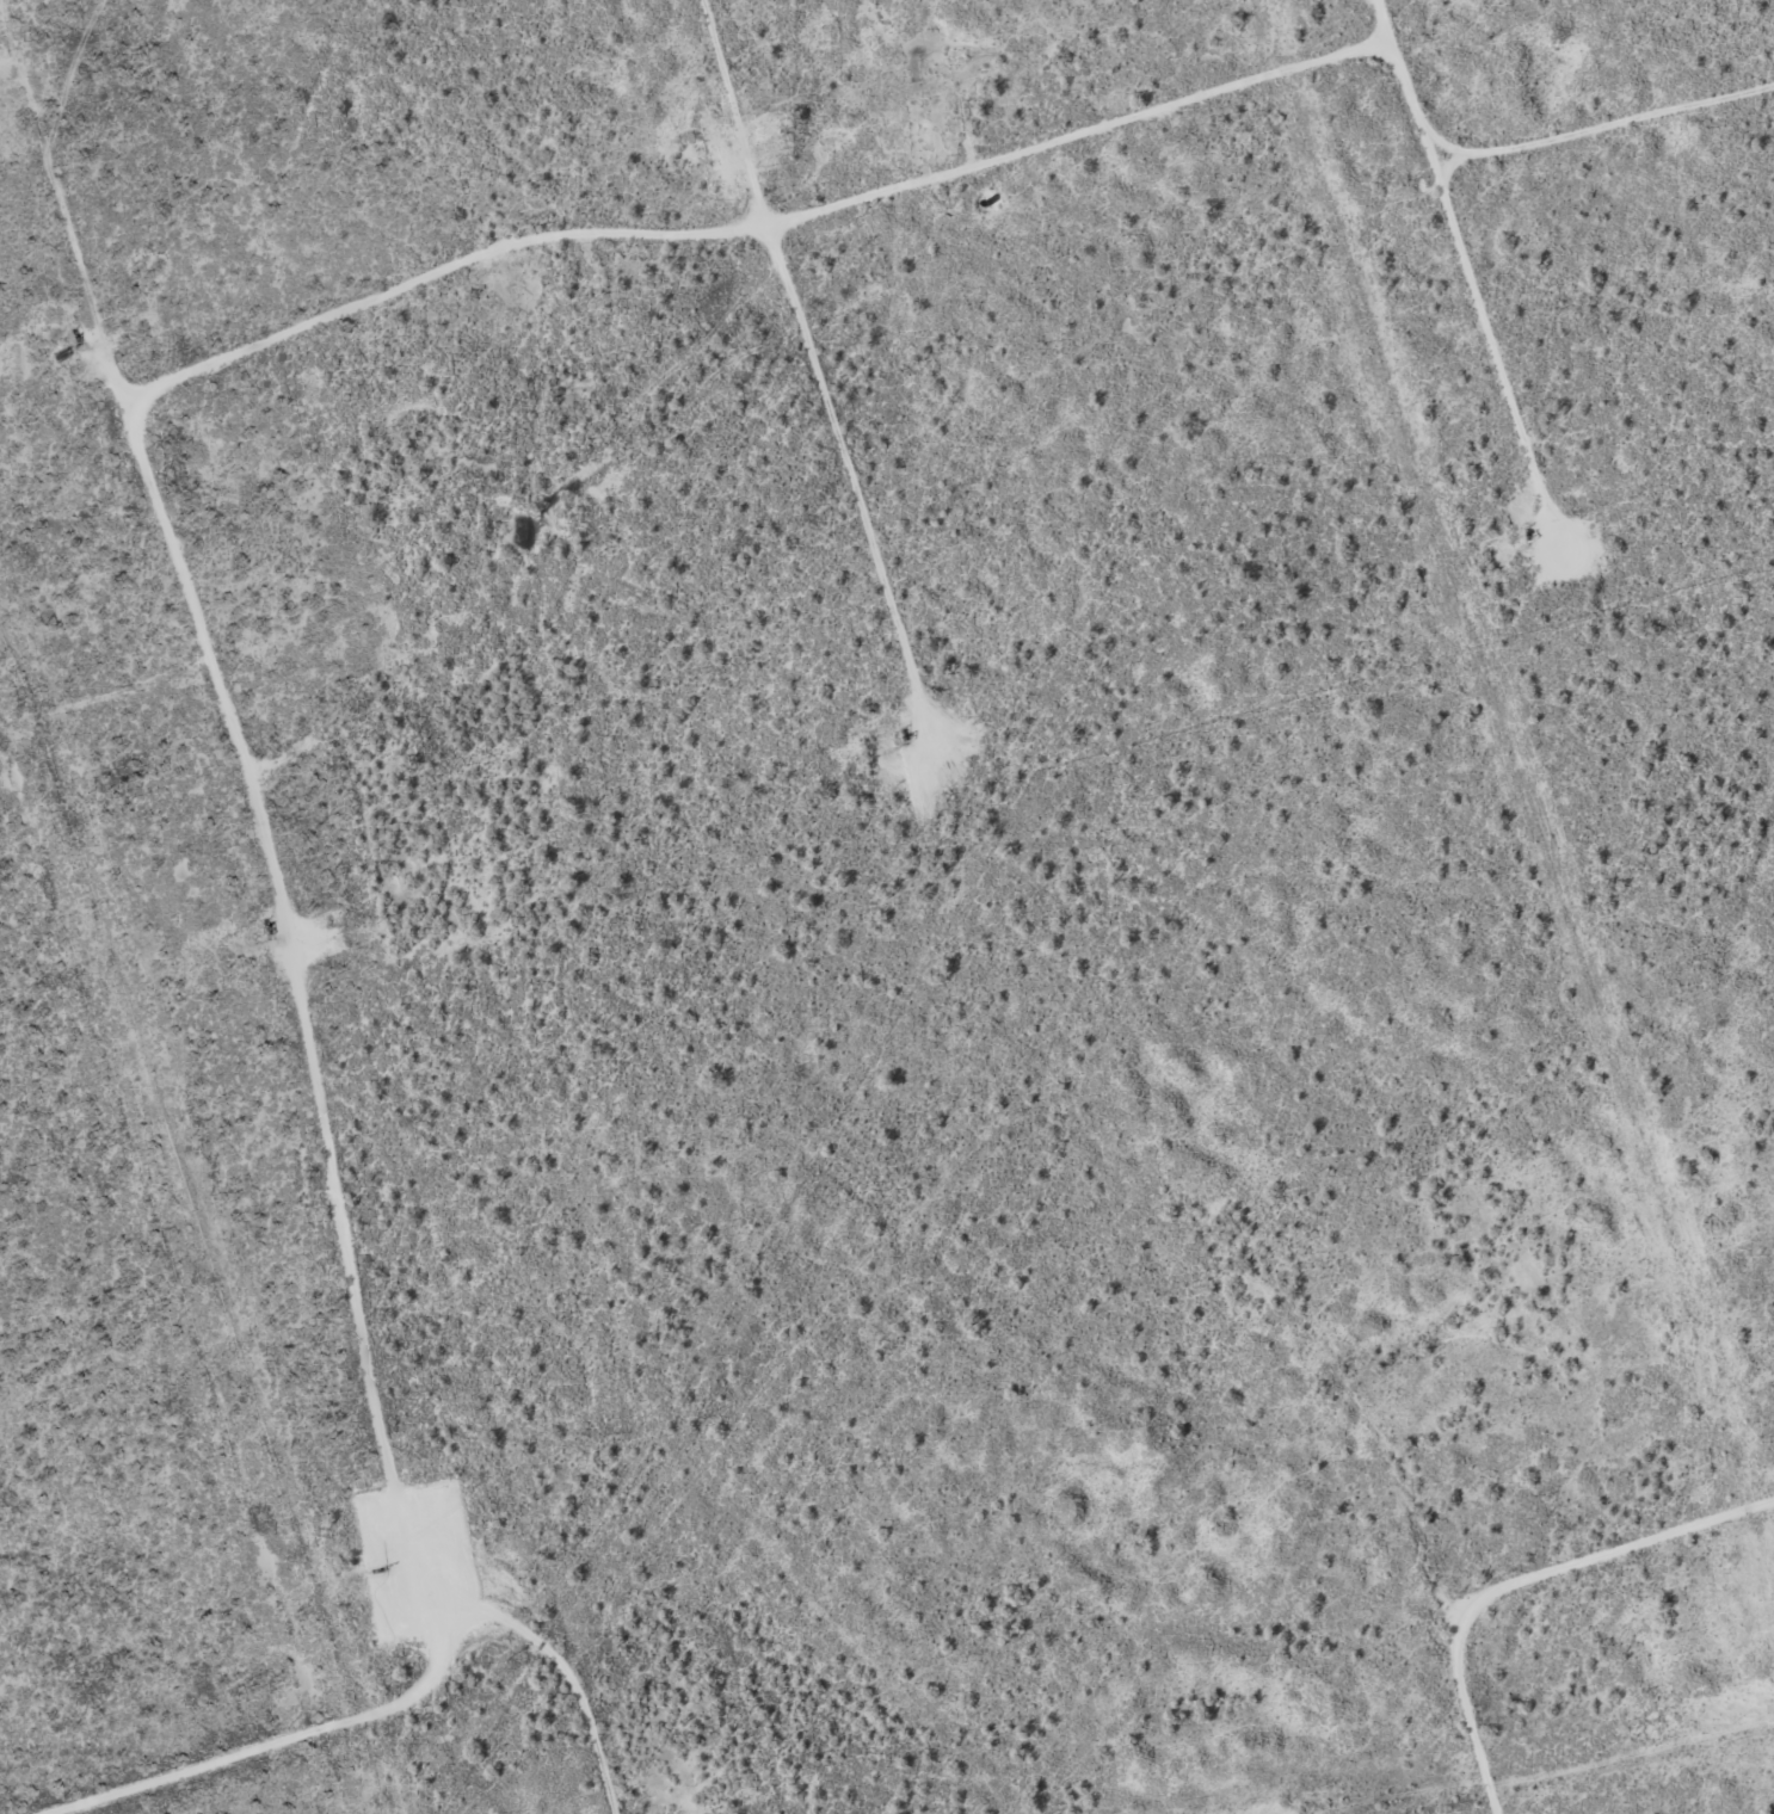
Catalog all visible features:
road: (1523, 144)
road: (752, 226)
road: (809, 384)
road: (275, 938)
road: (1552, 1609)
road: (325, 1736)

